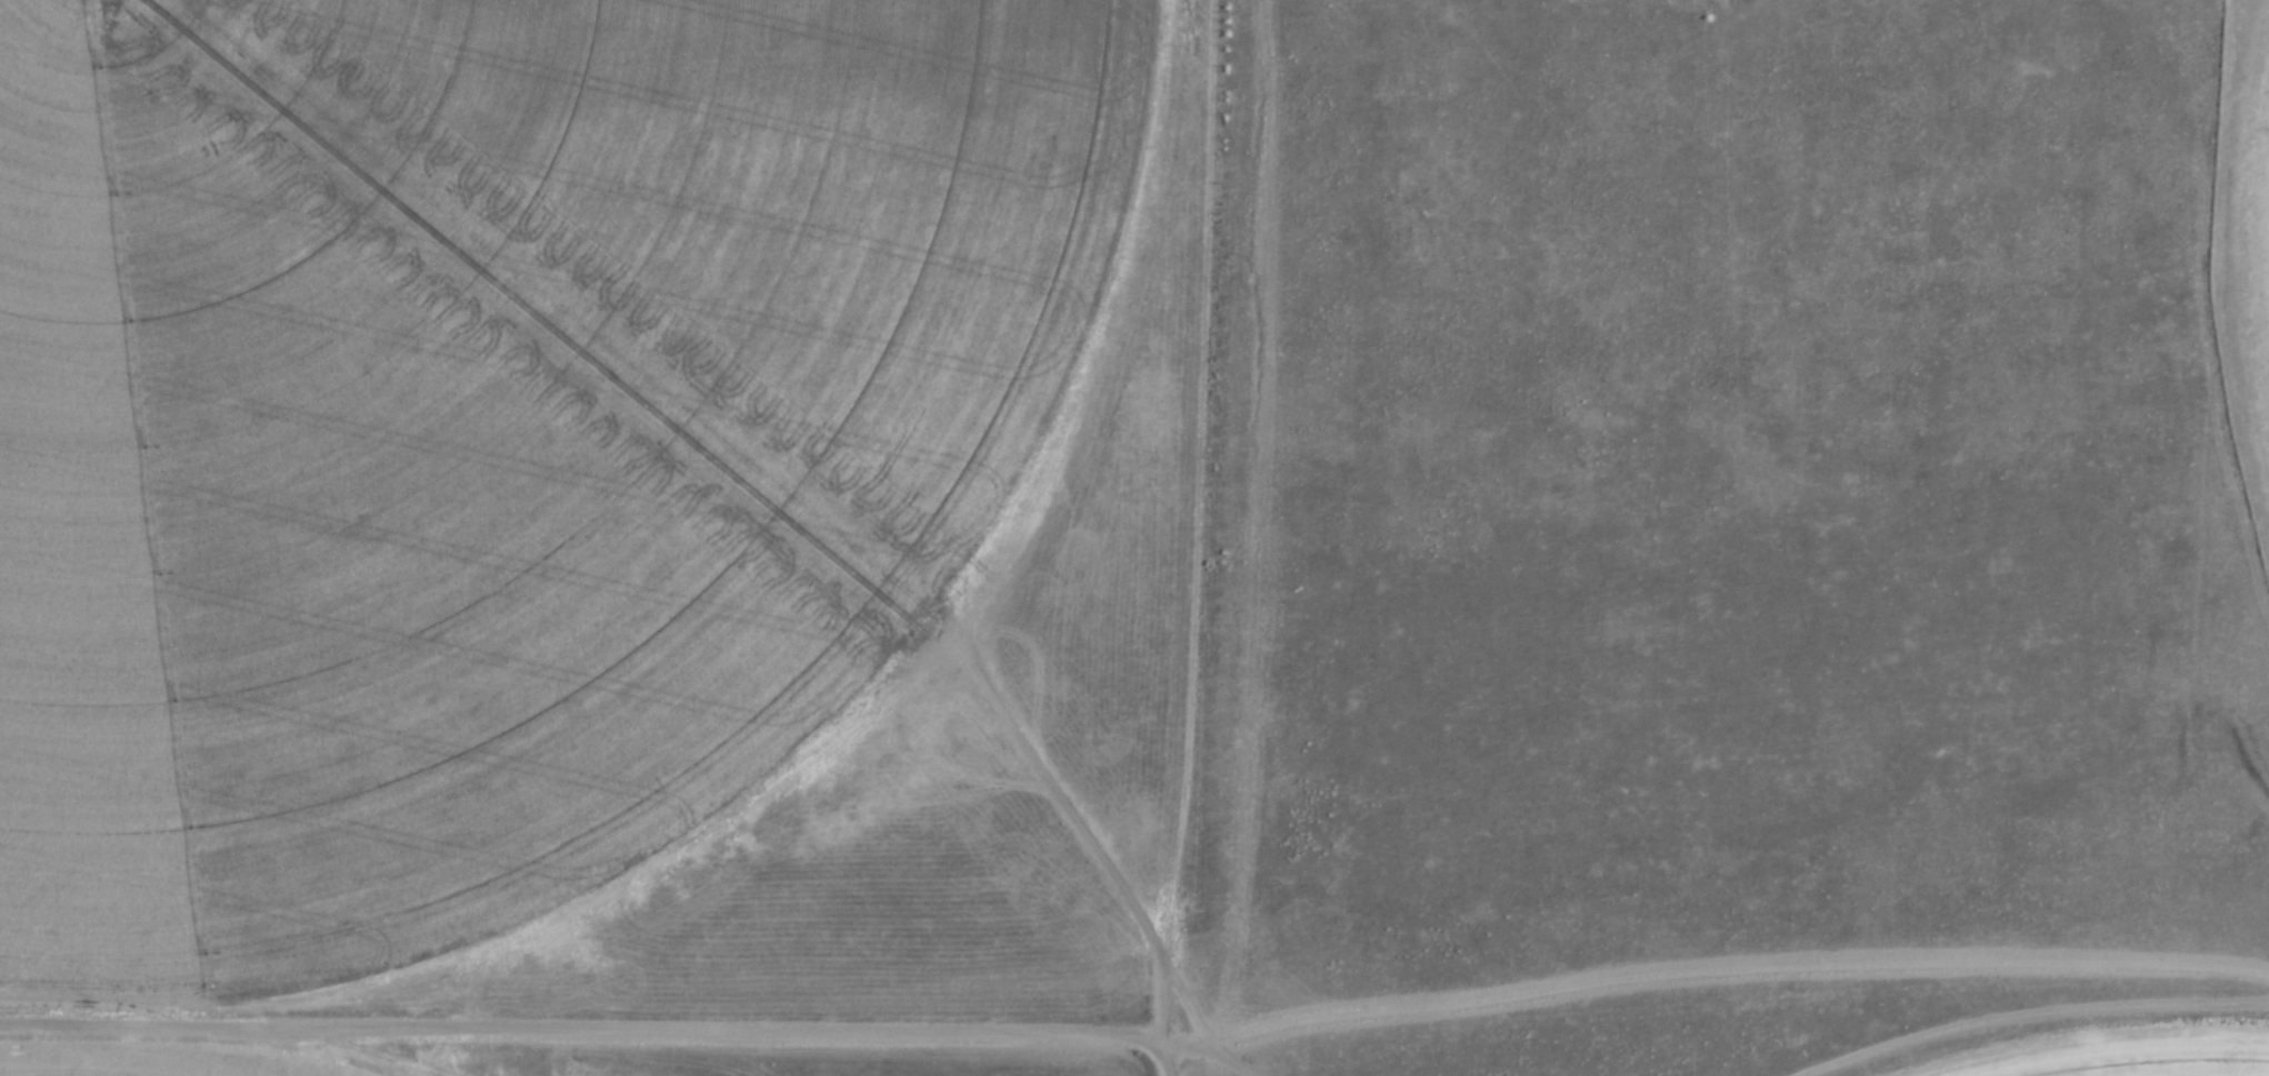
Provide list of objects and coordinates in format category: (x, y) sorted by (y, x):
crop: (474, 406)

